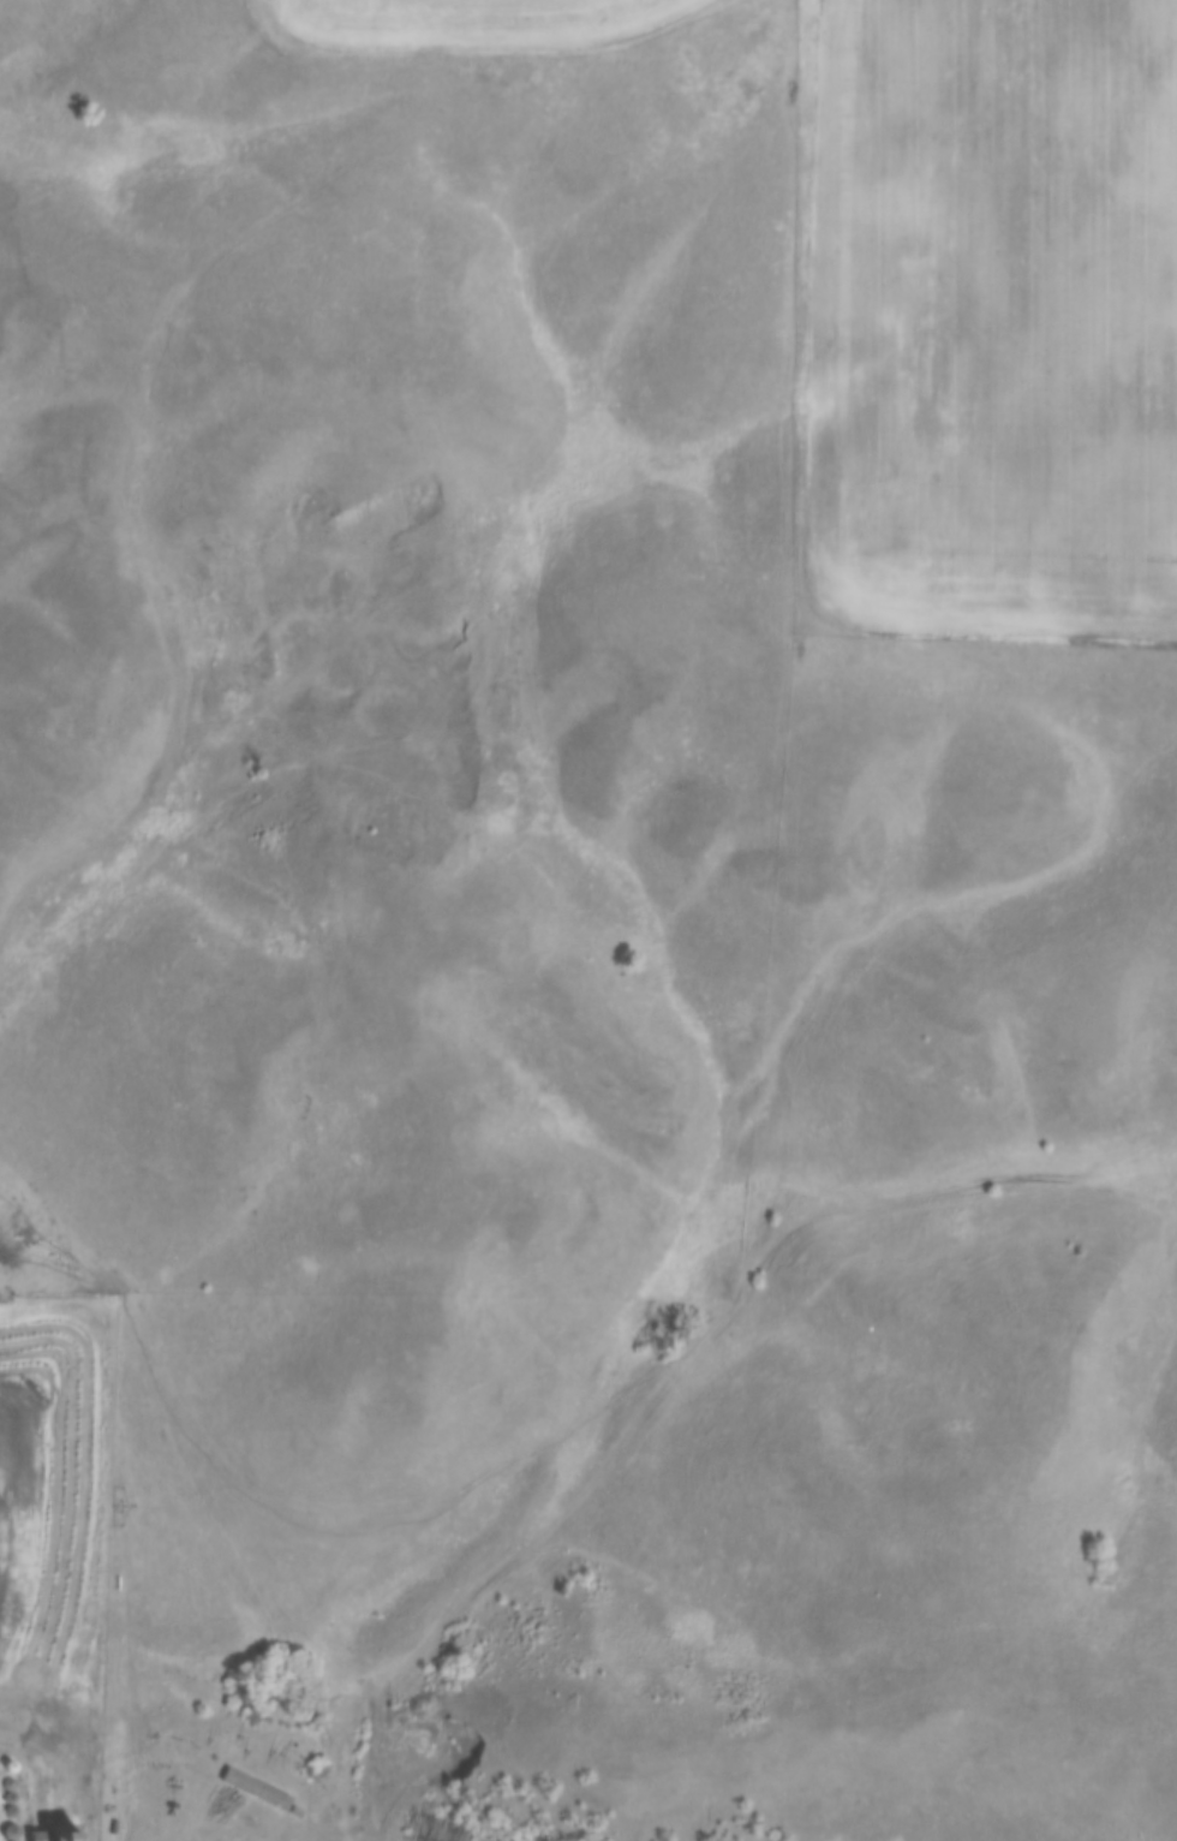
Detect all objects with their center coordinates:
building: (43, 1831)
building: (426, 1834)

